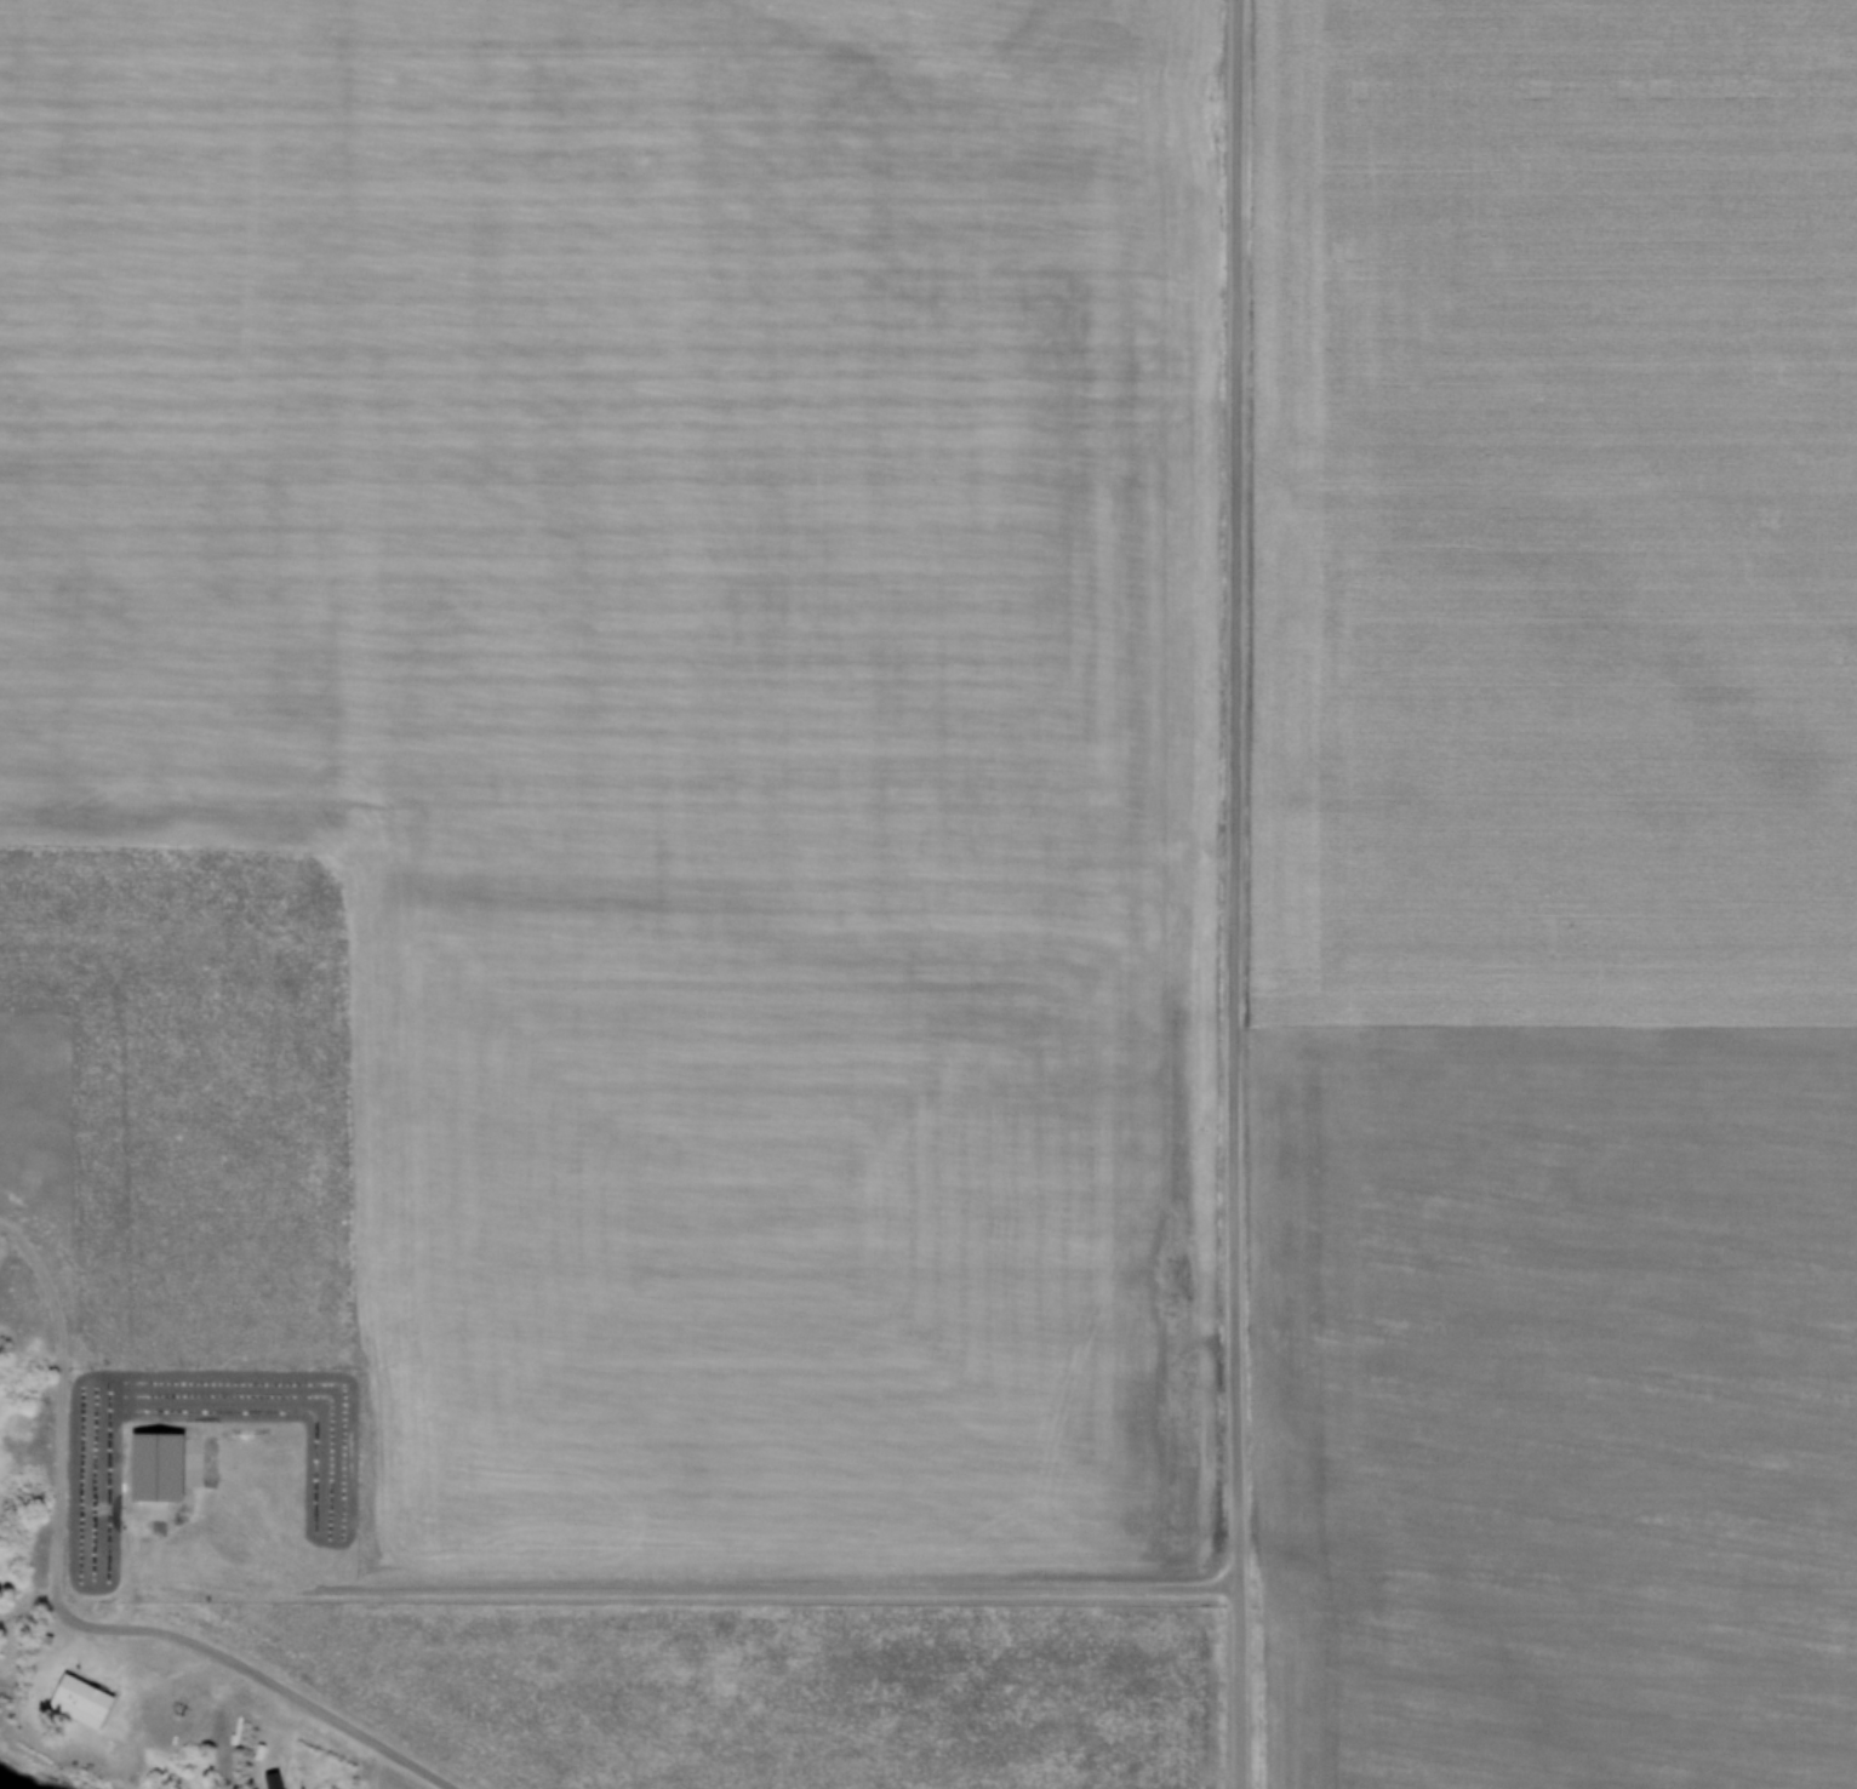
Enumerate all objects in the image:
road: (1238, 894)
road: (82, 1612)
building: (80, 1702)
building: (274, 1785)

